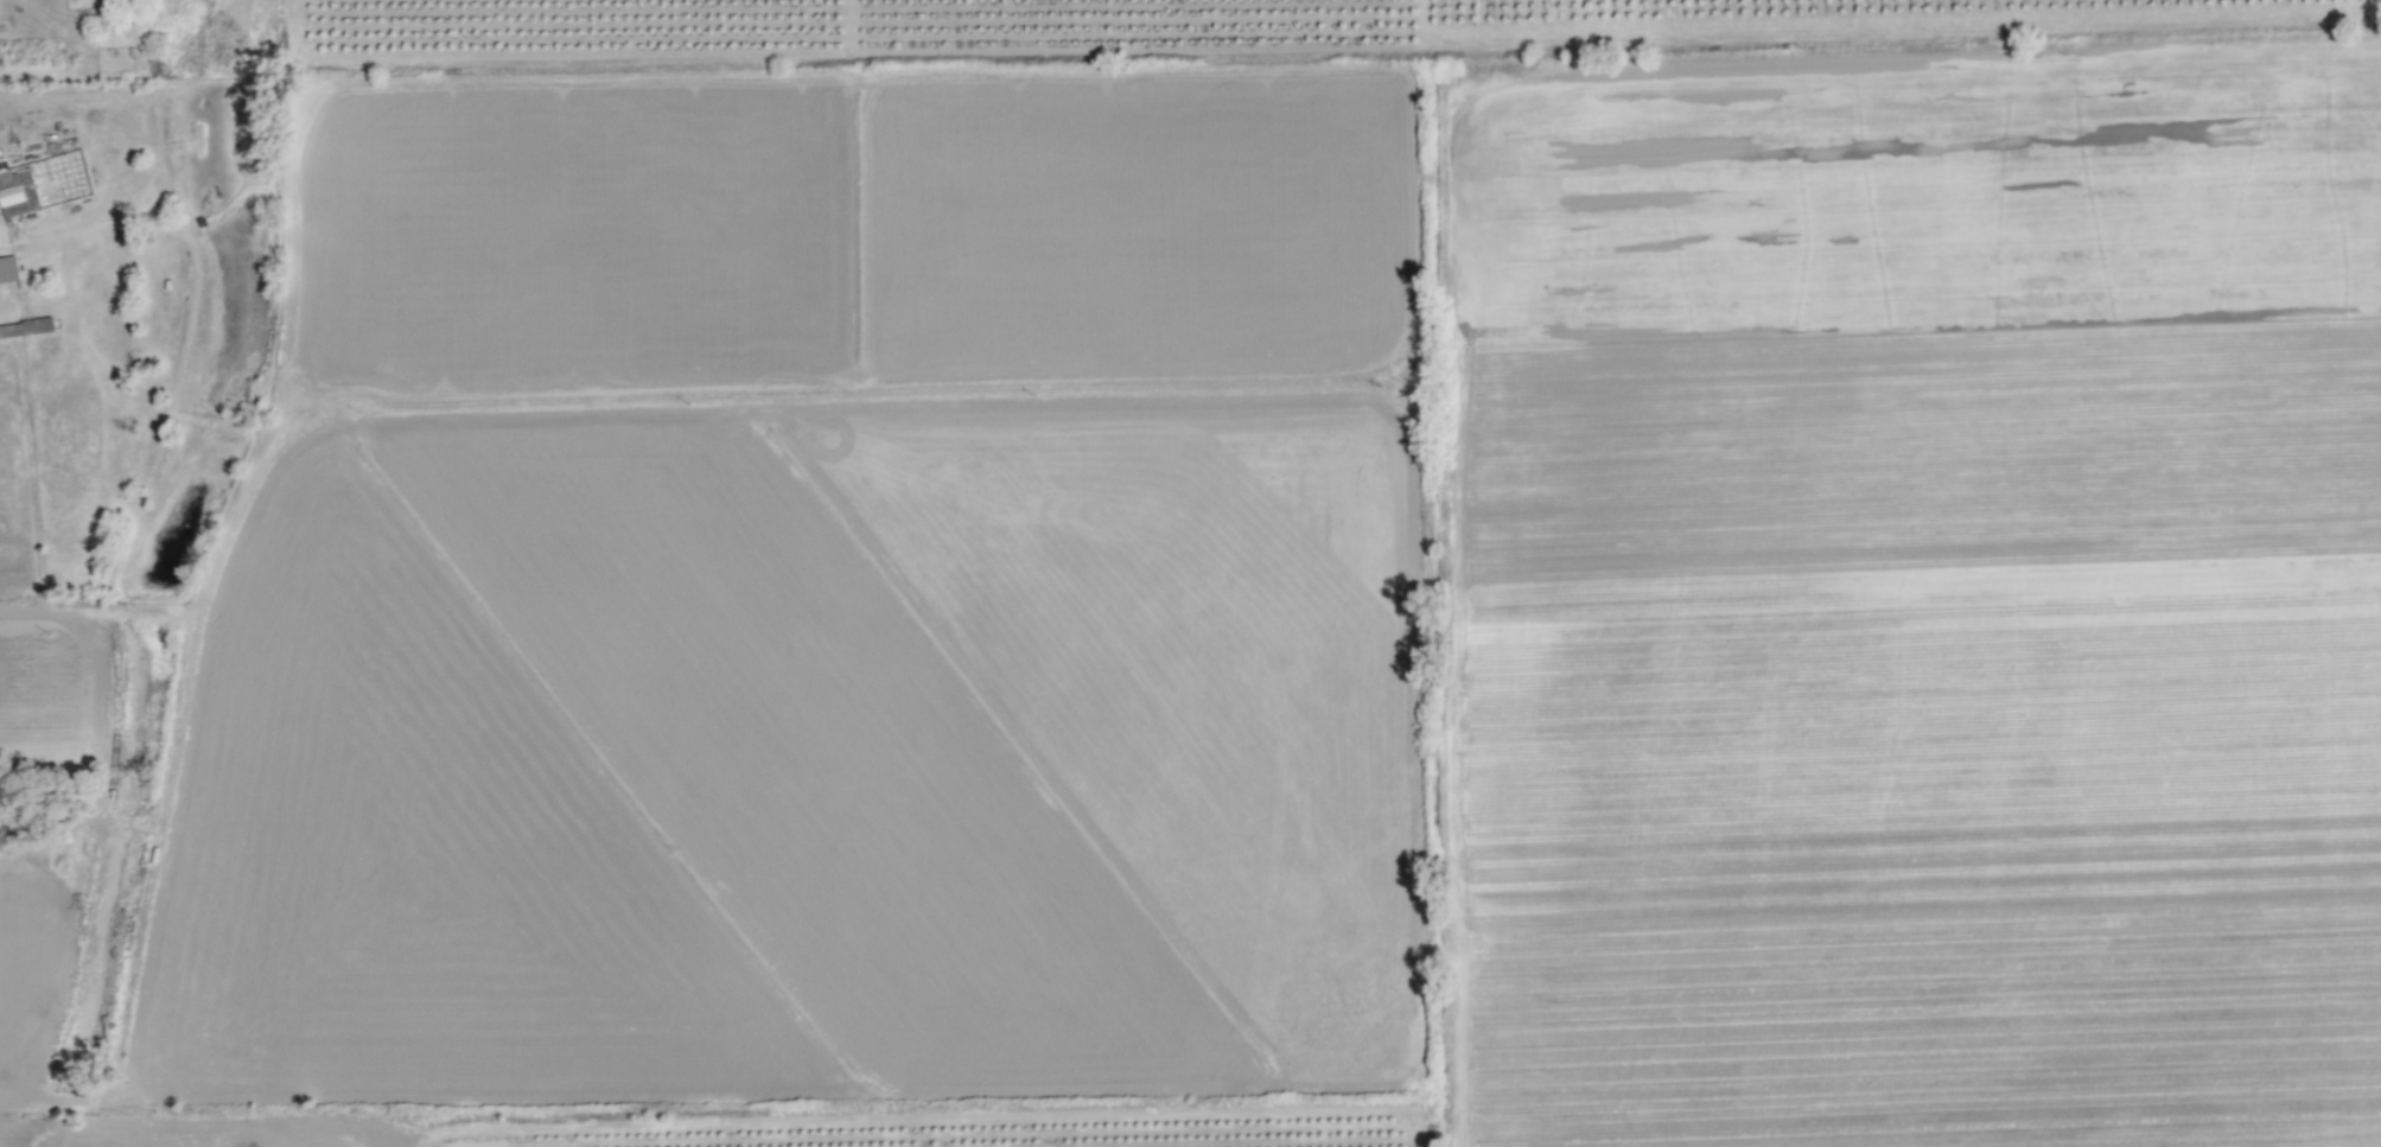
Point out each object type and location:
building: (17, 198)
building: (6, 268)
building: (25, 330)

